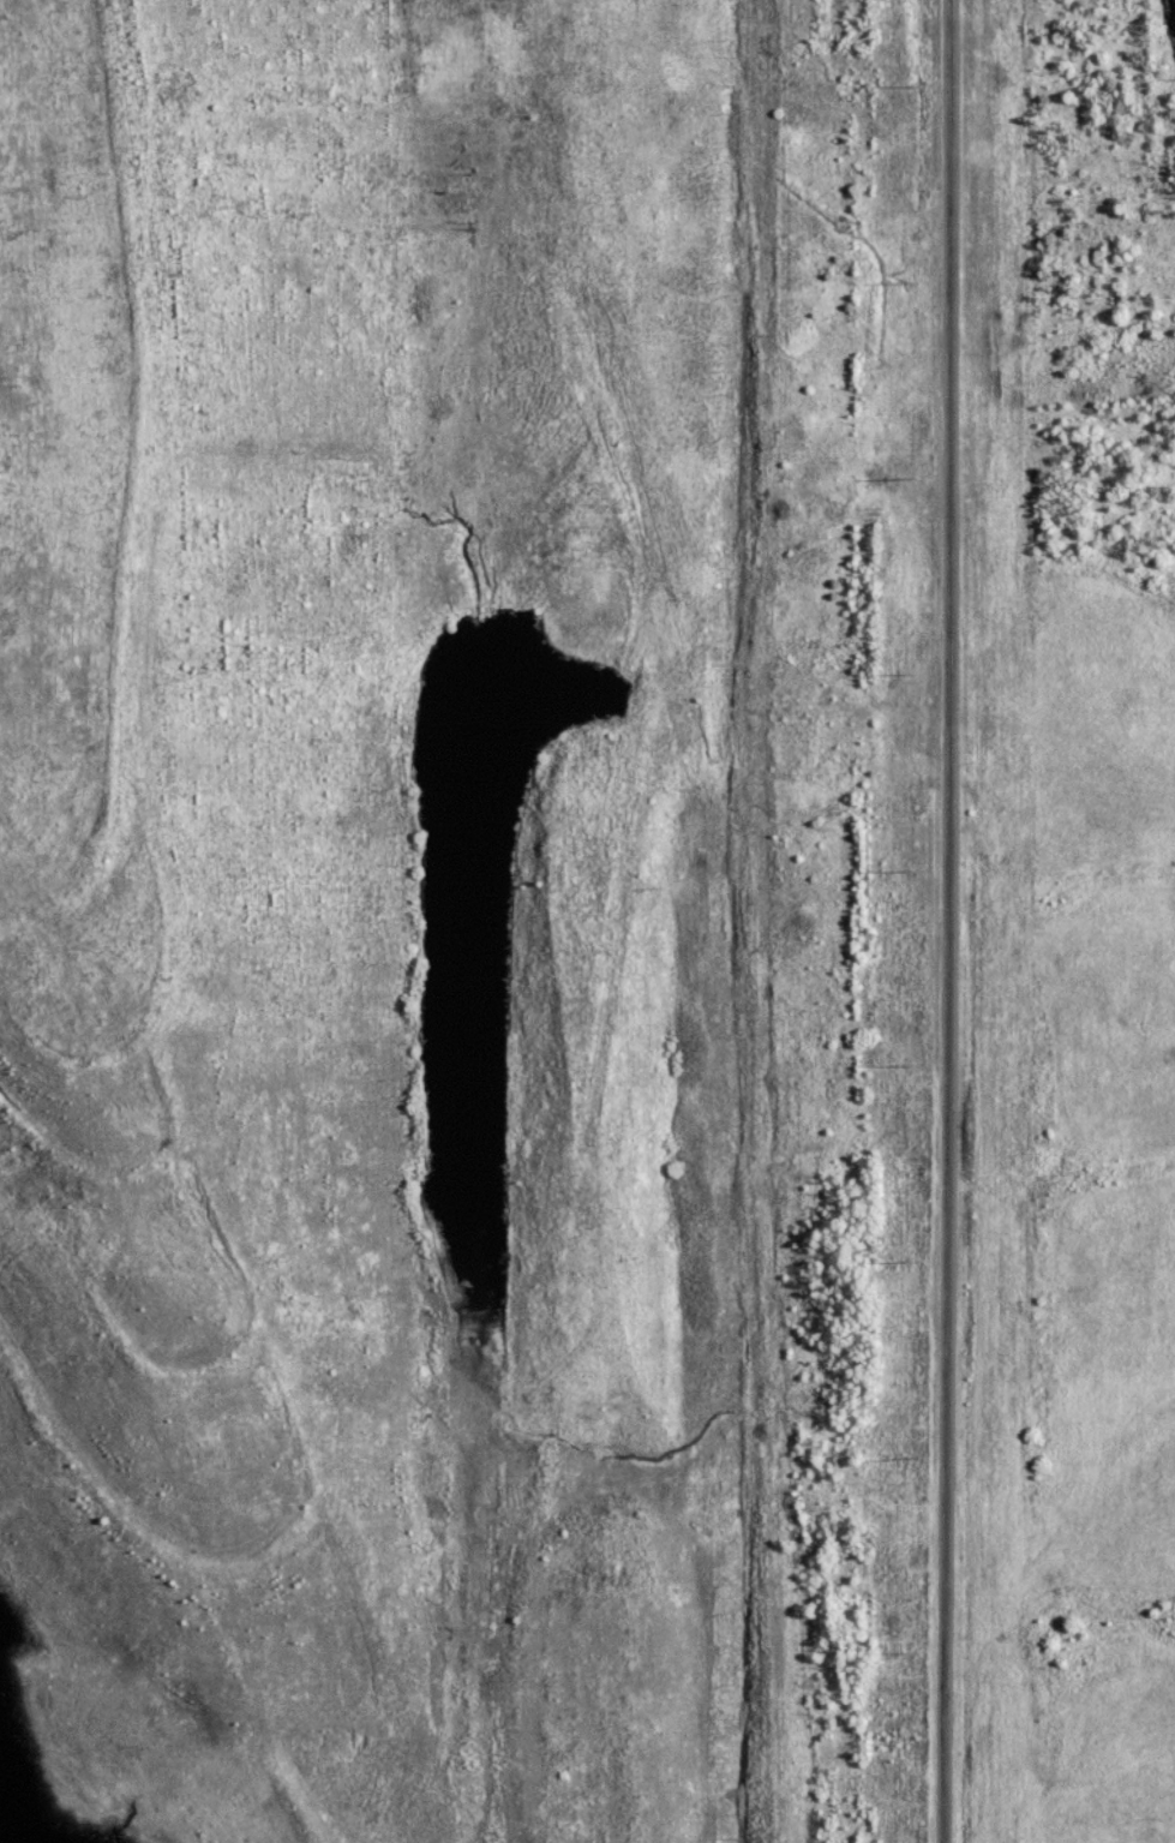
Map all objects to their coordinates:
road: (946, 921)
quarry: (403, 928)

